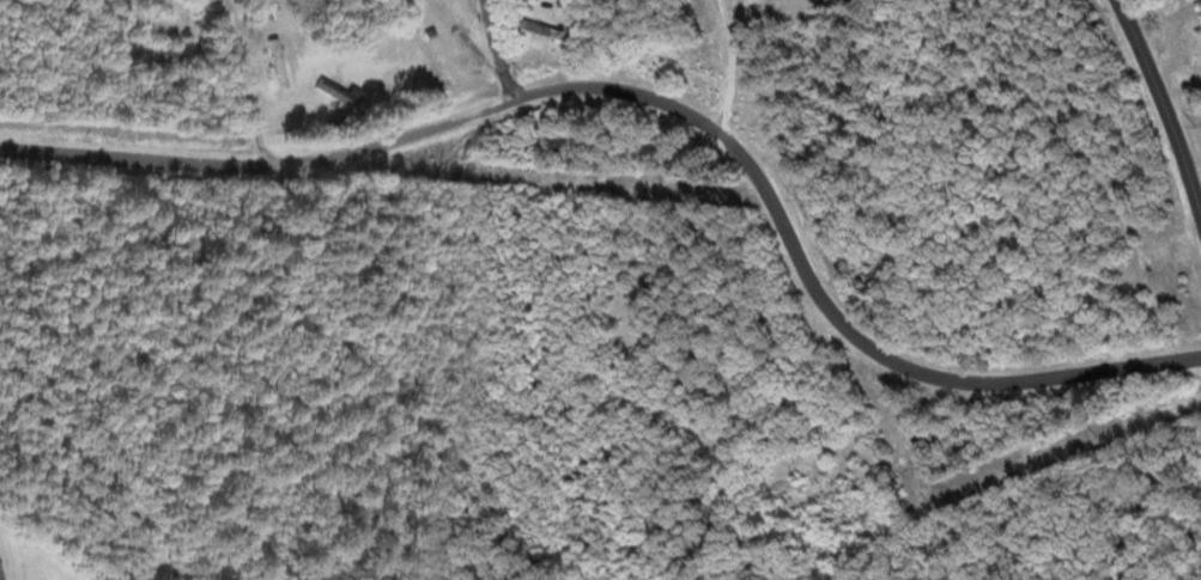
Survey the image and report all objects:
building: (1199, 6)
building: (263, 8)
road: (499, 51)
building: (278, 61)
road: (248, 83)
road: (651, 97)
road: (1164, 98)
building: (606, 372)
building: (845, 494)
road: (1, 572)

